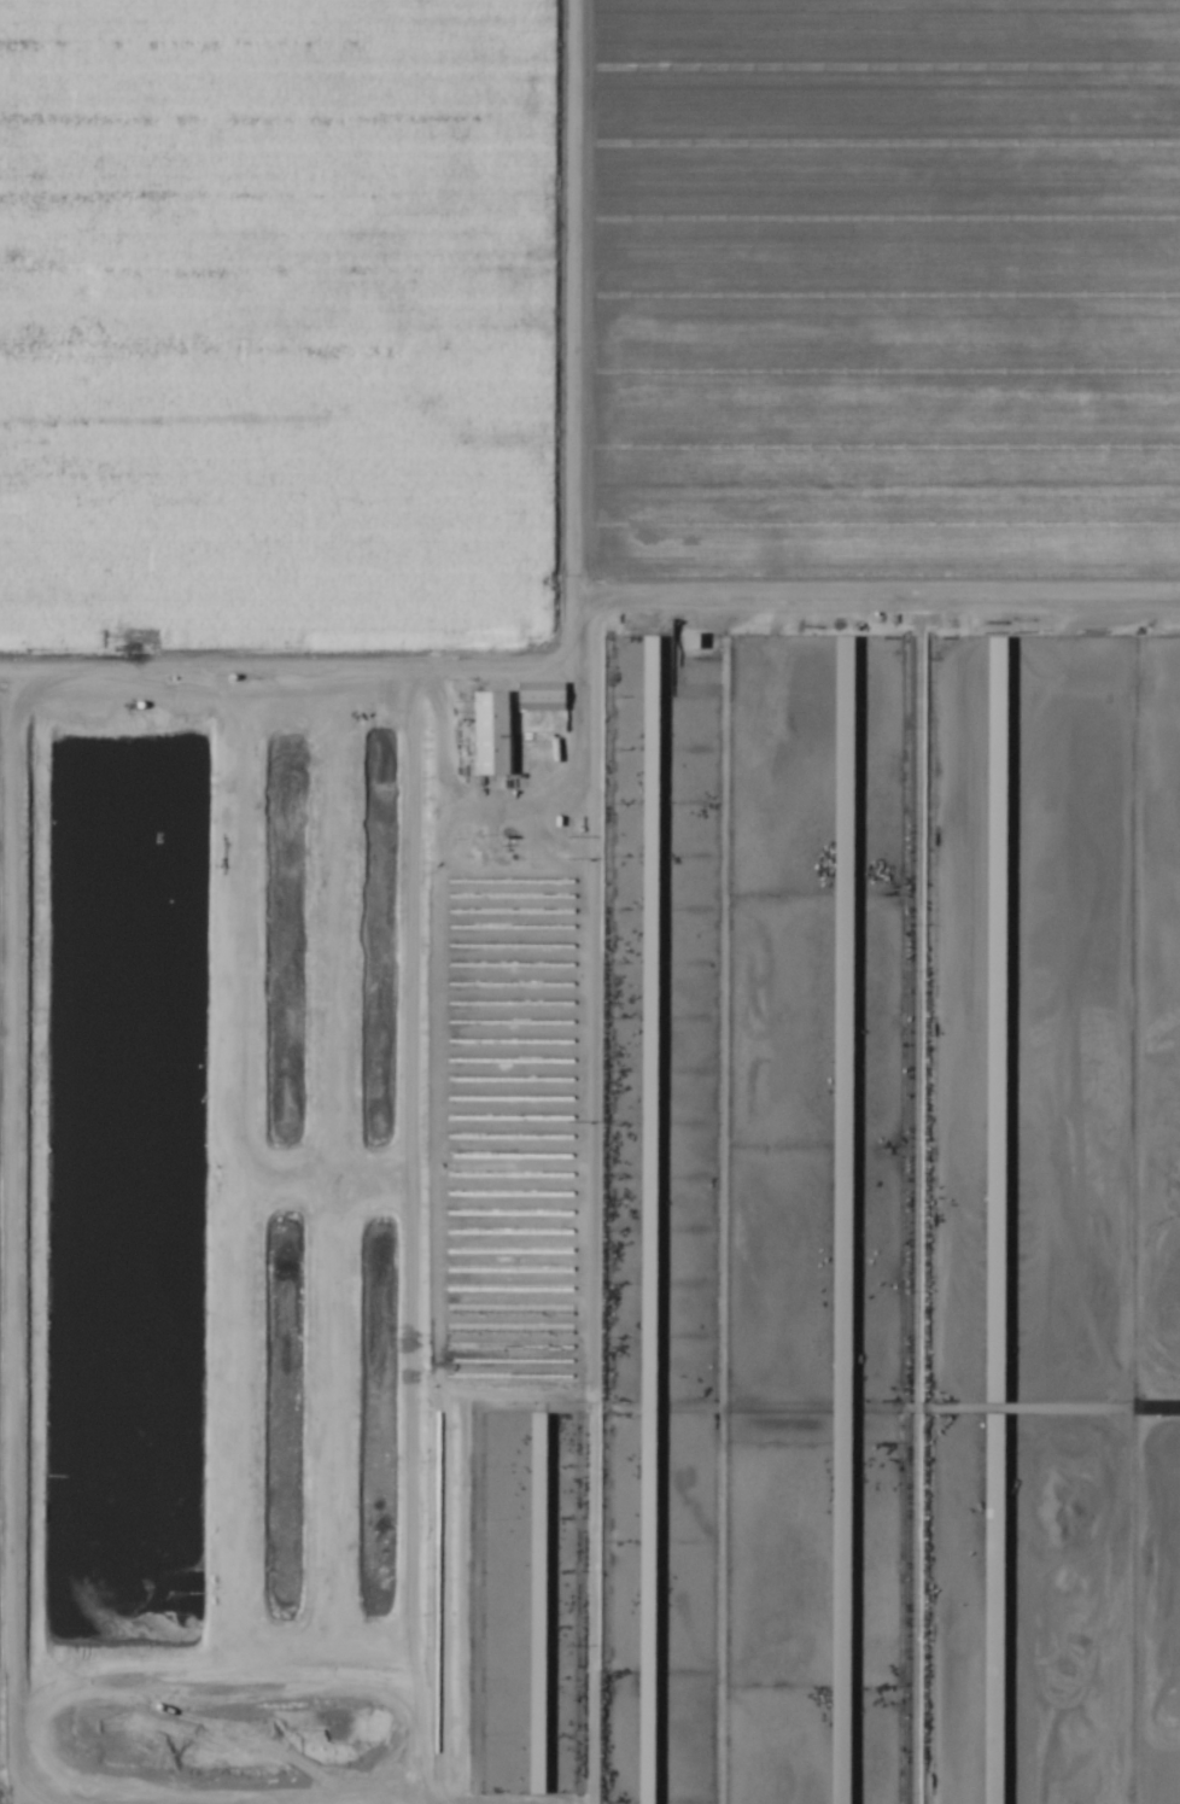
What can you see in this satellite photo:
building: (490, 735)
building: (649, 950)
building: (995, 1021)
building: (994, 1500)
building: (648, 1511)
building: (537, 1605)
building: (993, 1709)

